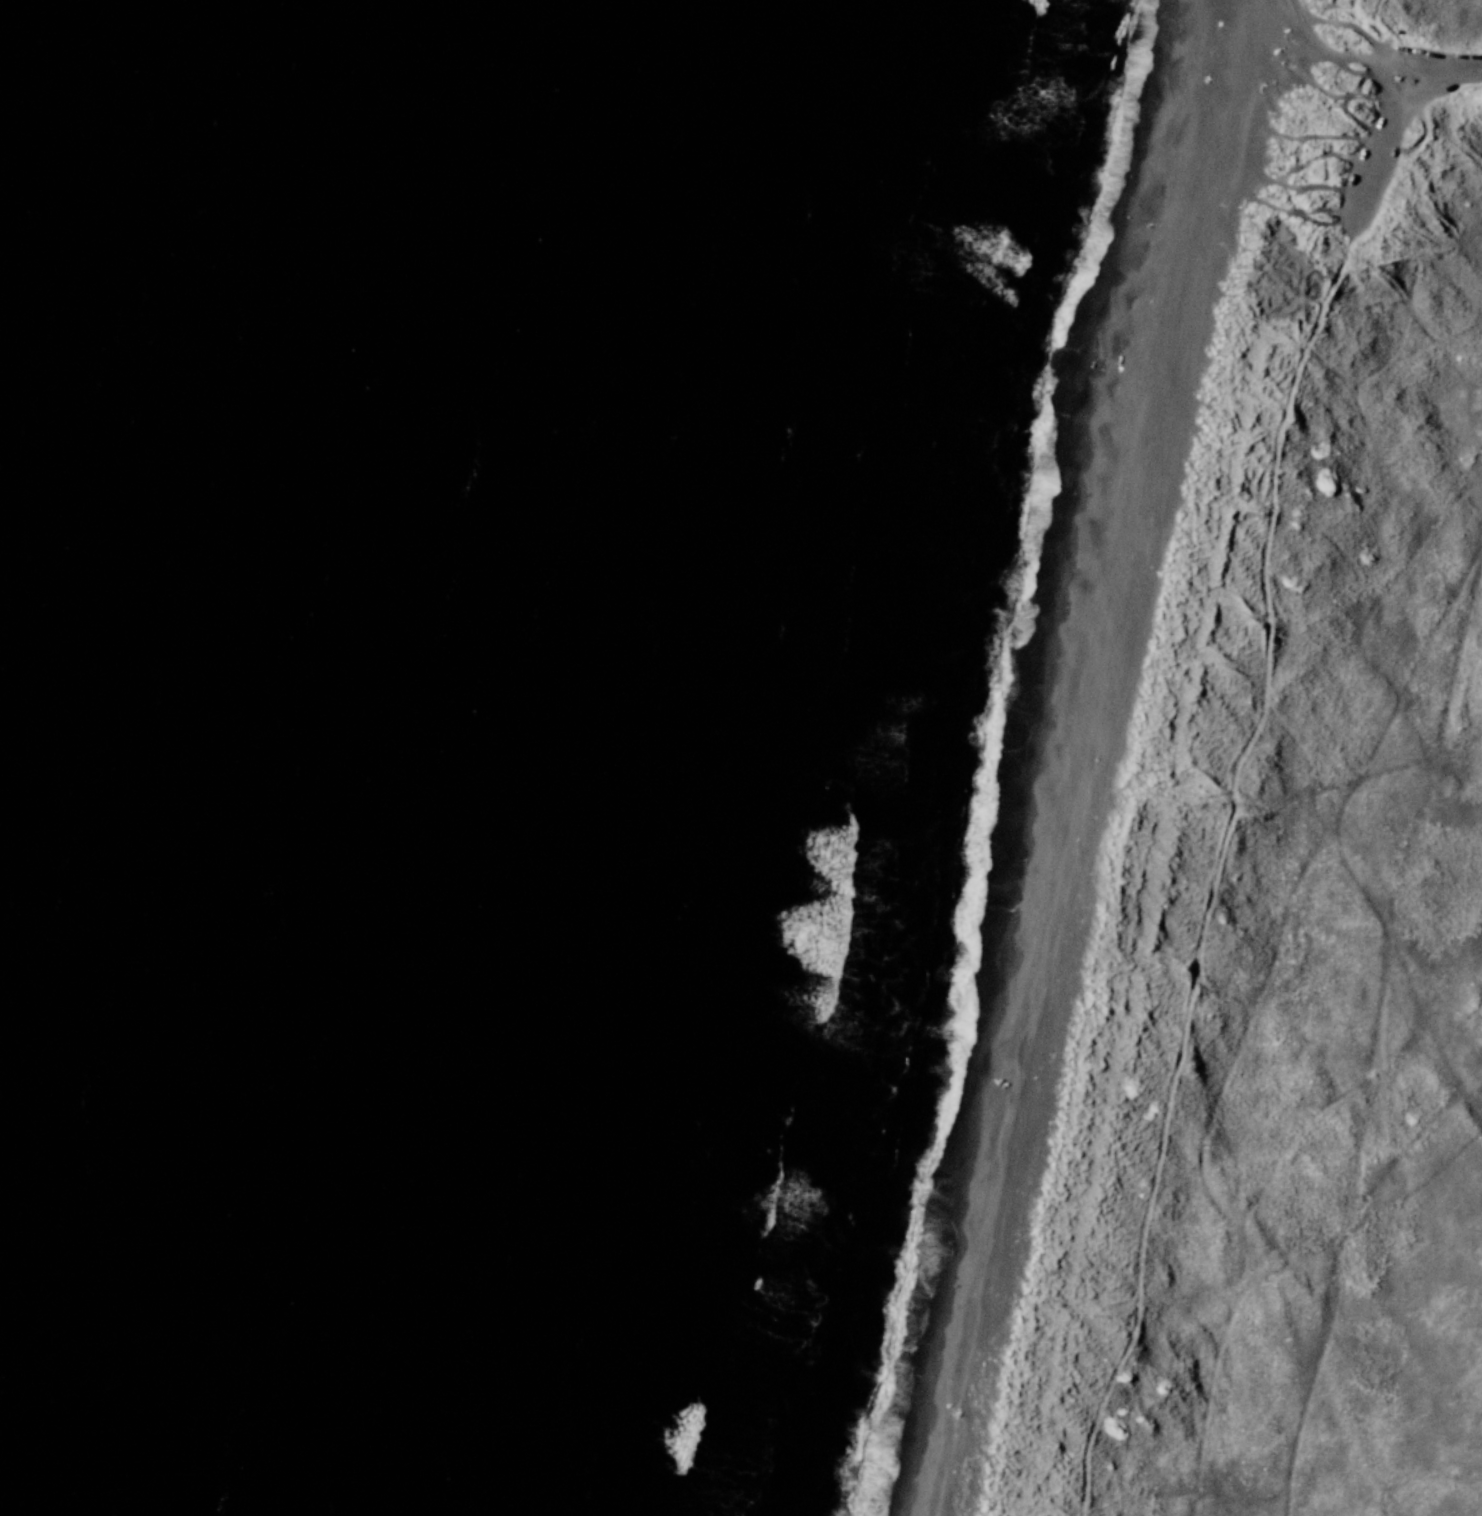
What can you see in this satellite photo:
road: (1465, 71)

